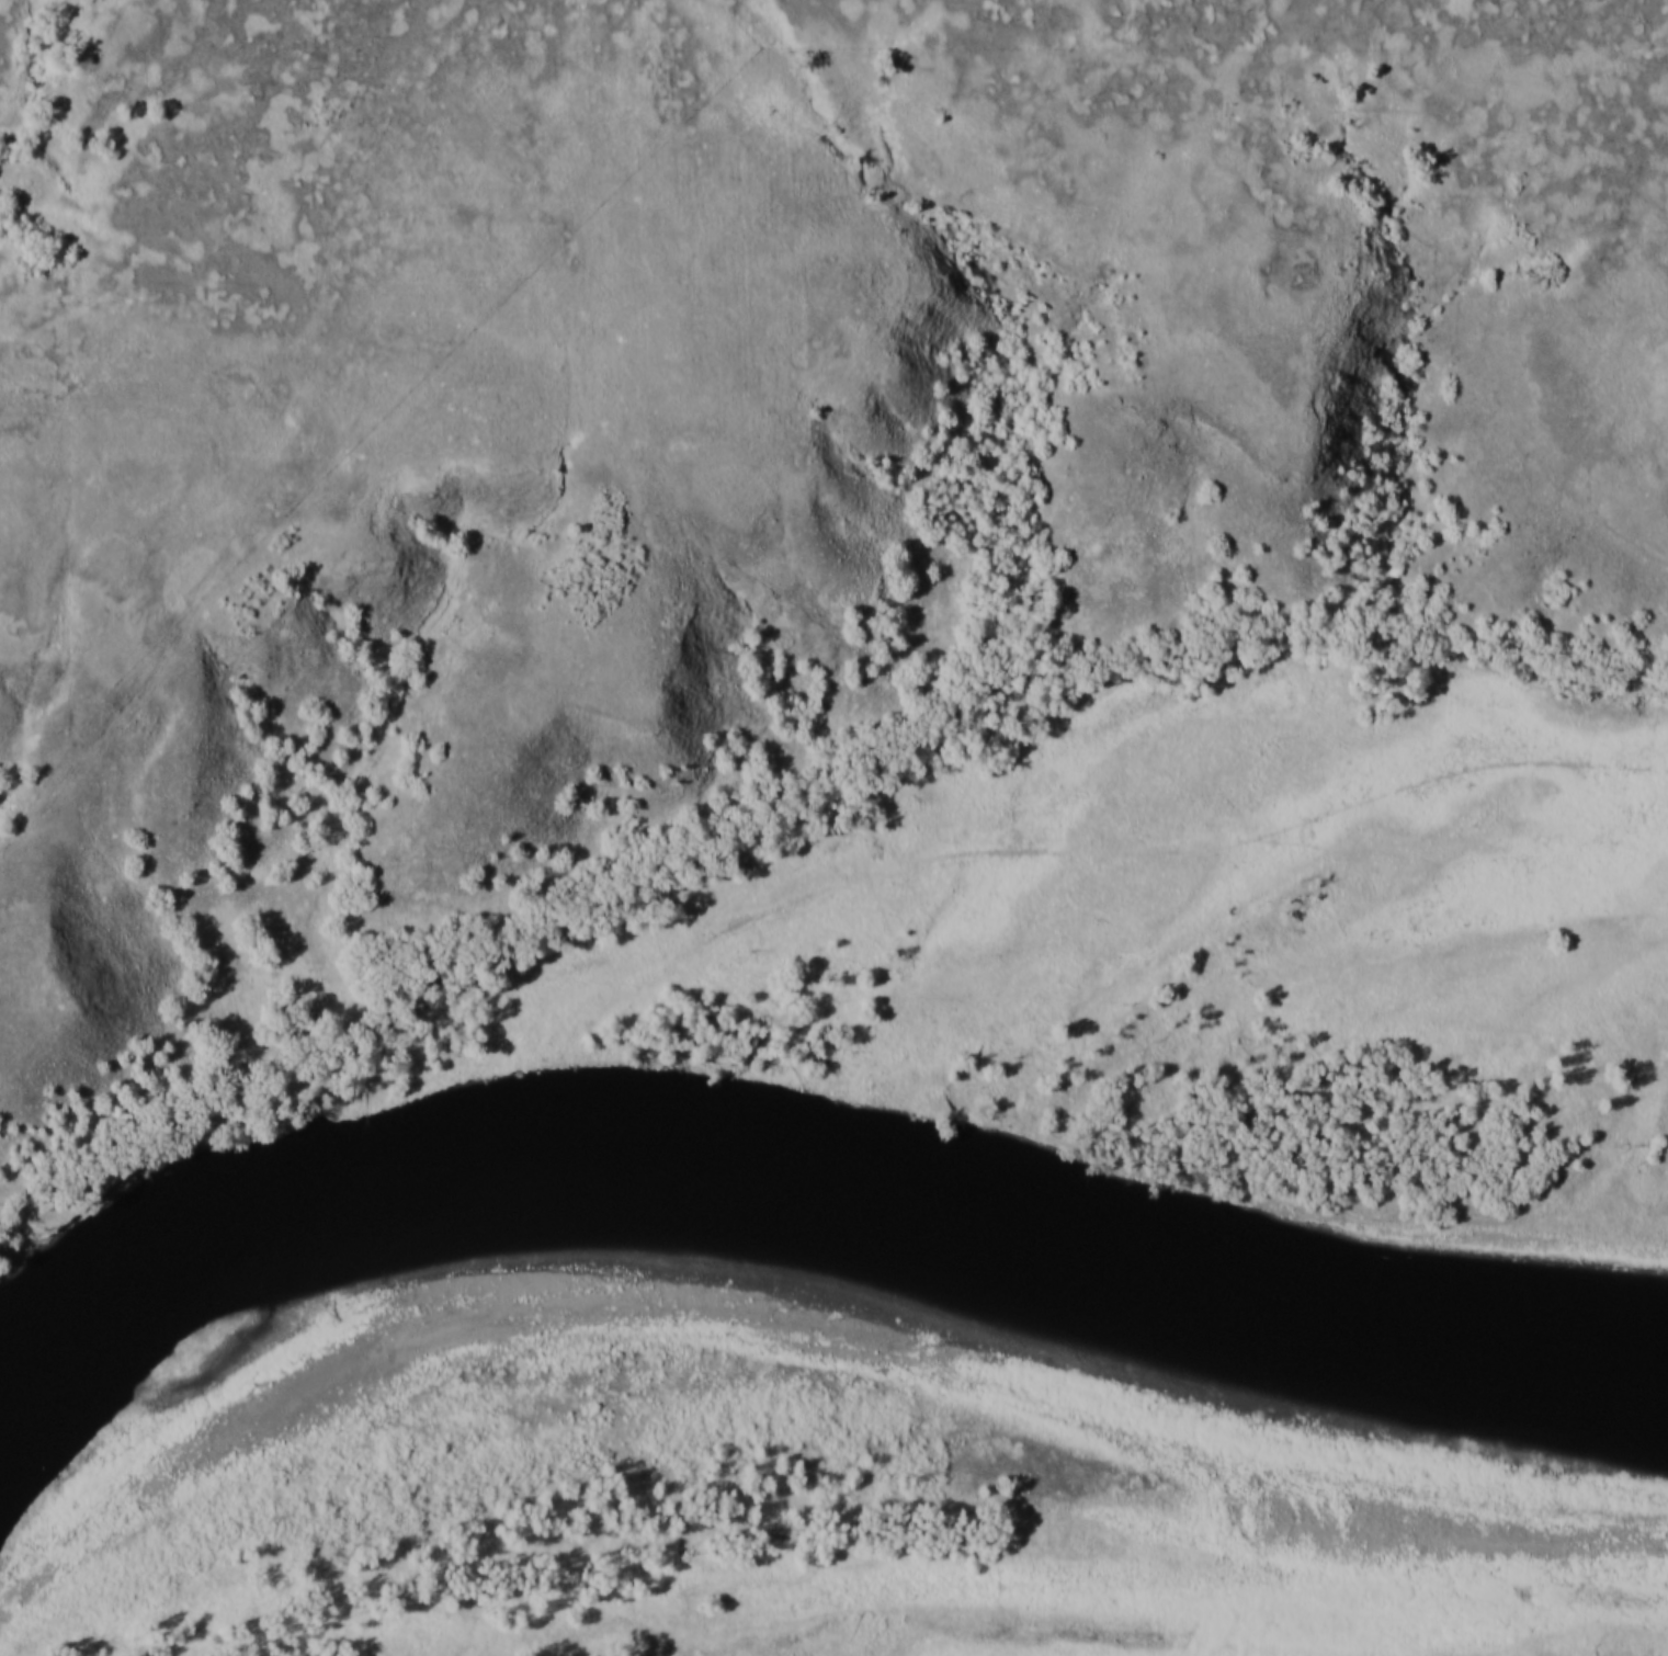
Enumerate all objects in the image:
river: (808, 1216)

